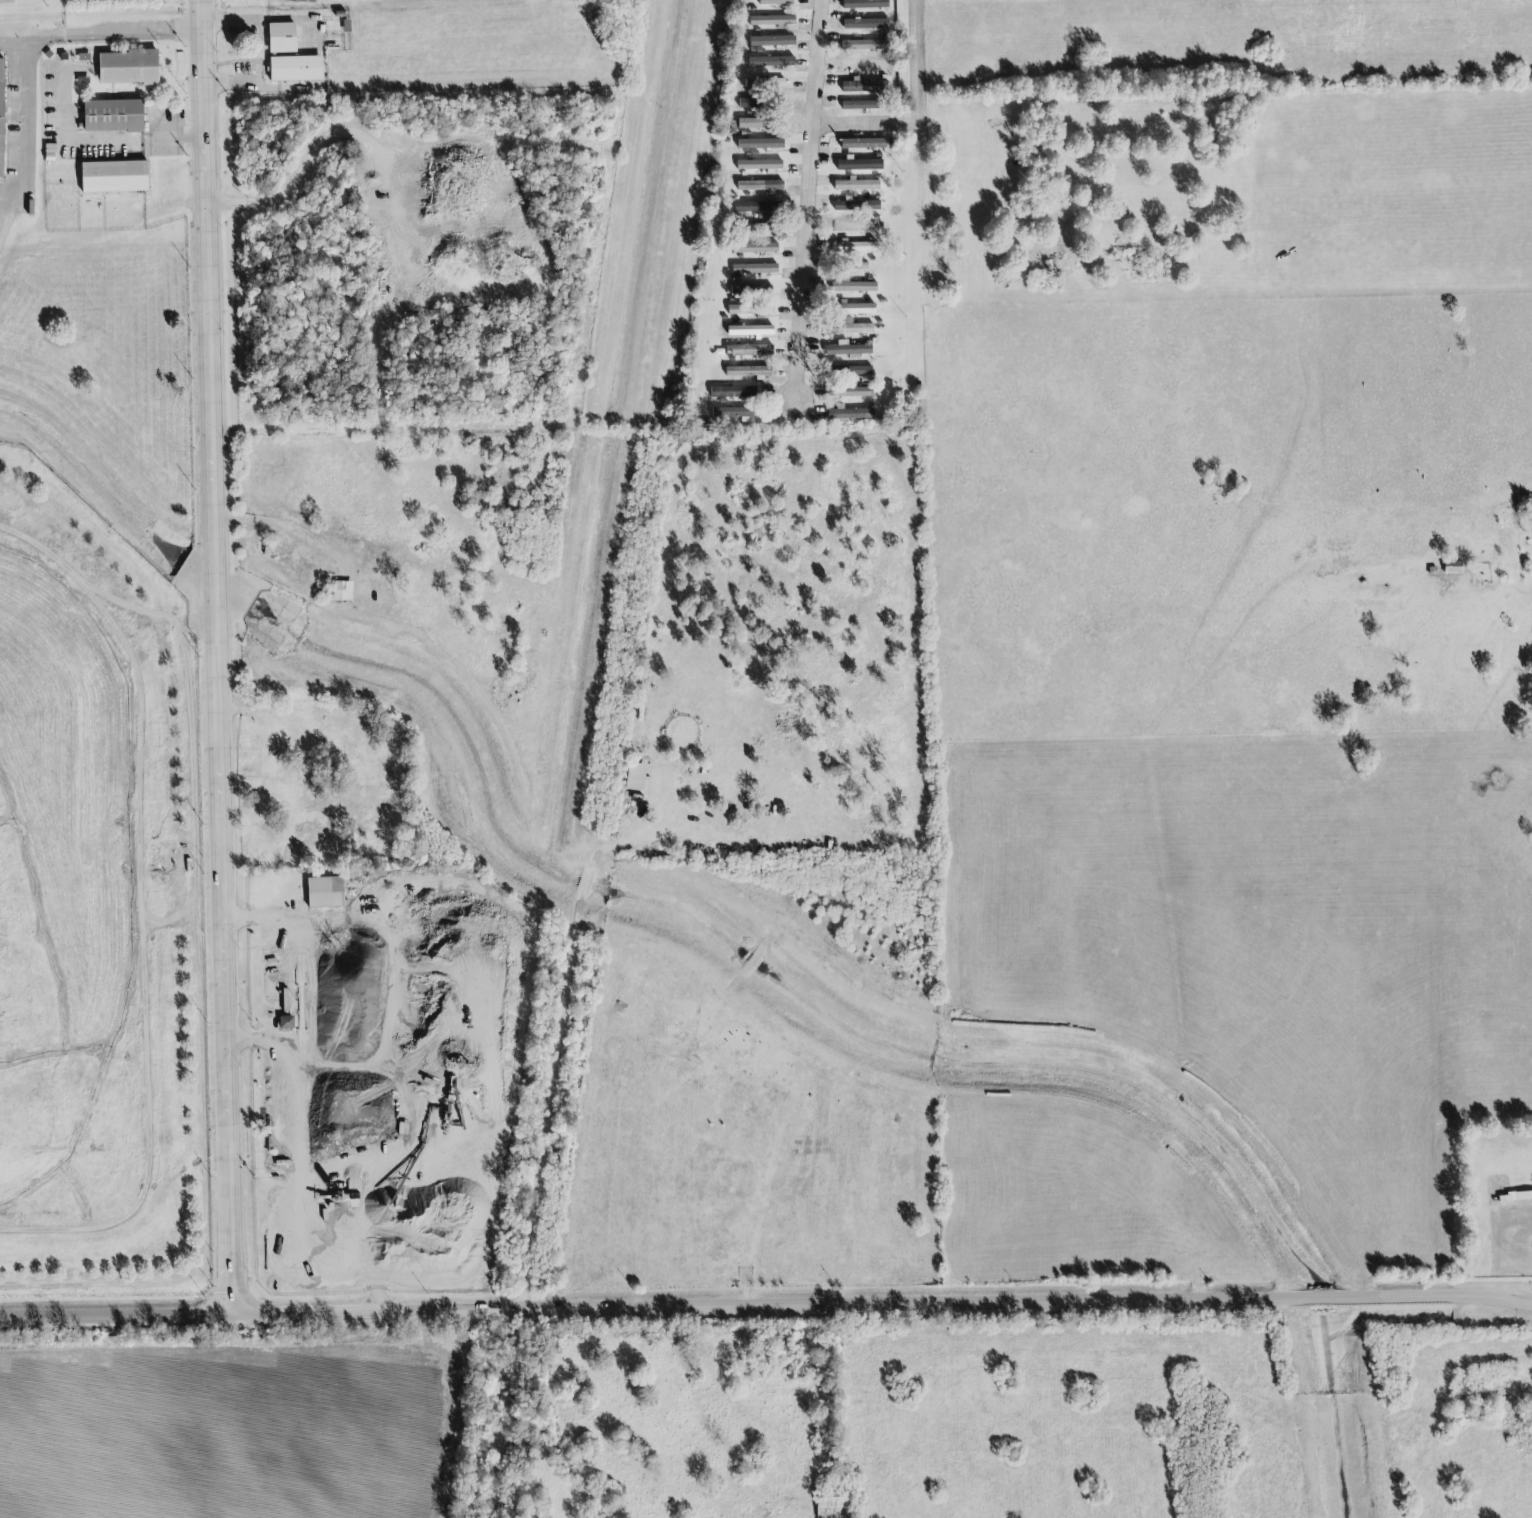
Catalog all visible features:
building: (305, 1)
building: (776, 2)
building: (867, 4)
road: (258, 18)
building: (774, 20)
building: (863, 23)
road: (134, 30)
road: (48, 36)
building: (281, 36)
road: (16, 39)
building: (766, 41)
building: (860, 44)
building: (767, 60)
building: (864, 64)
building: (296, 67)
building: (131, 68)
road: (919, 73)
building: (765, 83)
building: (862, 85)
building: (749, 103)
building: (861, 106)
building: (2, 114)
building: (113, 114)
building: (761, 123)
road: (867, 123)
road: (102, 139)
building: (859, 143)
building: (762, 144)
building: (861, 164)
building: (759, 165)
building: (114, 175)
building: (760, 185)
building: (855, 185)
road: (809, 199)
building: (752, 206)
building: (764, 215)
building: (855, 225)
building: (758, 229)
building: (853, 246)
building: (755, 248)
building: (755, 269)
building: (854, 287)
building: (855, 309)
building: (853, 327)
building: (748, 330)
building: (848, 349)
building: (751, 350)
building: (850, 370)
building: (749, 371)
building: (732, 392)
building: (855, 392)
building: (850, 414)
building: (731, 415)
road: (286, 528)
road: (118, 541)
building: (1454, 566)
building: (343, 590)
road: (148, 625)
road: (219, 656)
building: (636, 776)
park: (327, 787)
building: (326, 891)
road: (152, 911)
building: (286, 1022)
road: (263, 1041)
road: (201, 1054)
road: (296, 1107)
building: (1515, 1196)
road: (1517, 1235)
road: (765, 1302)
building: (834, 1506)

